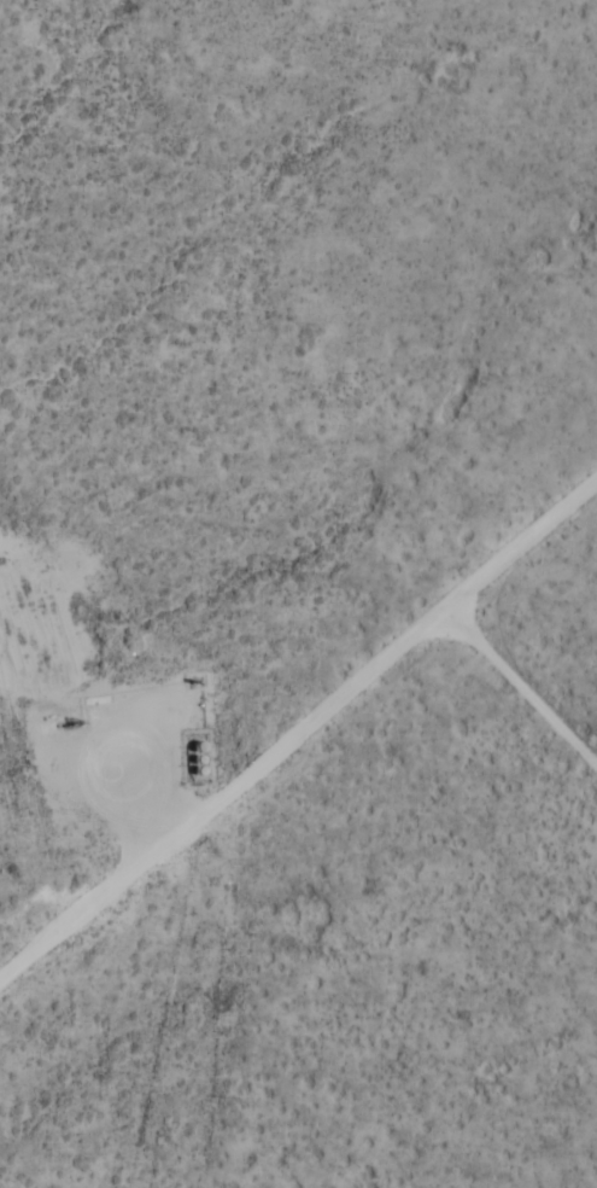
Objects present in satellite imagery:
road: (300, 738)

